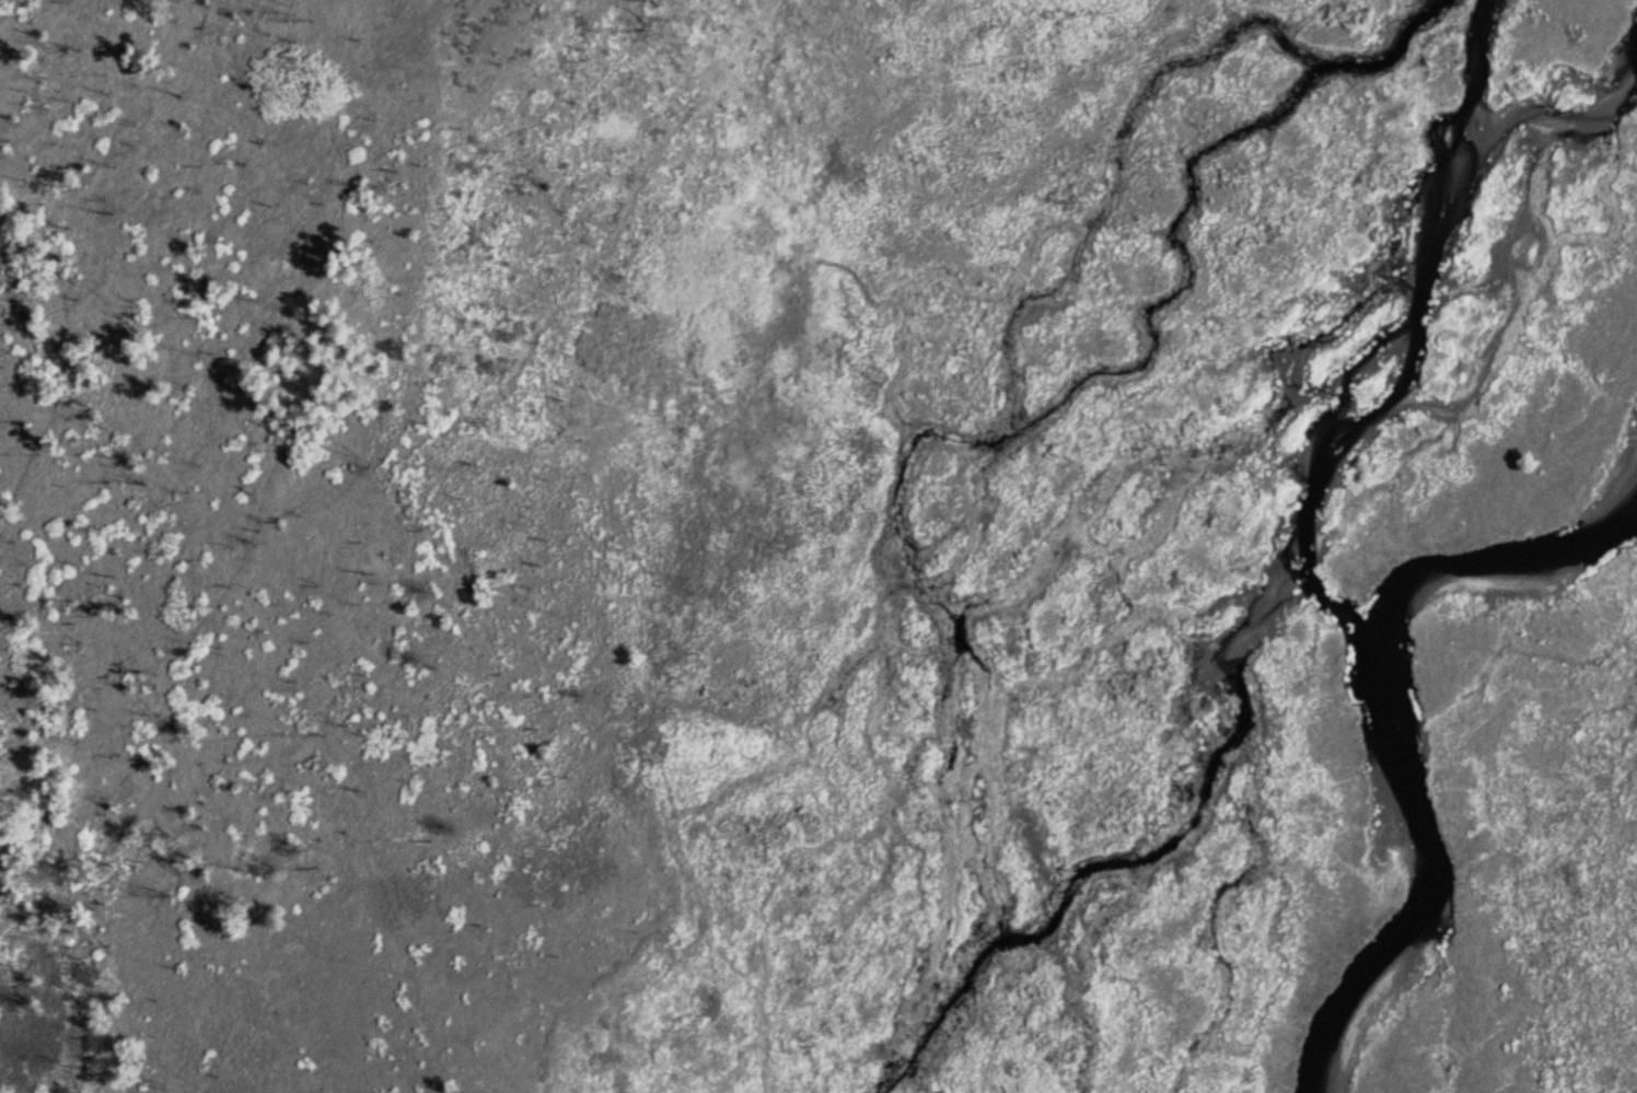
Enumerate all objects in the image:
river: (1393, 722)

